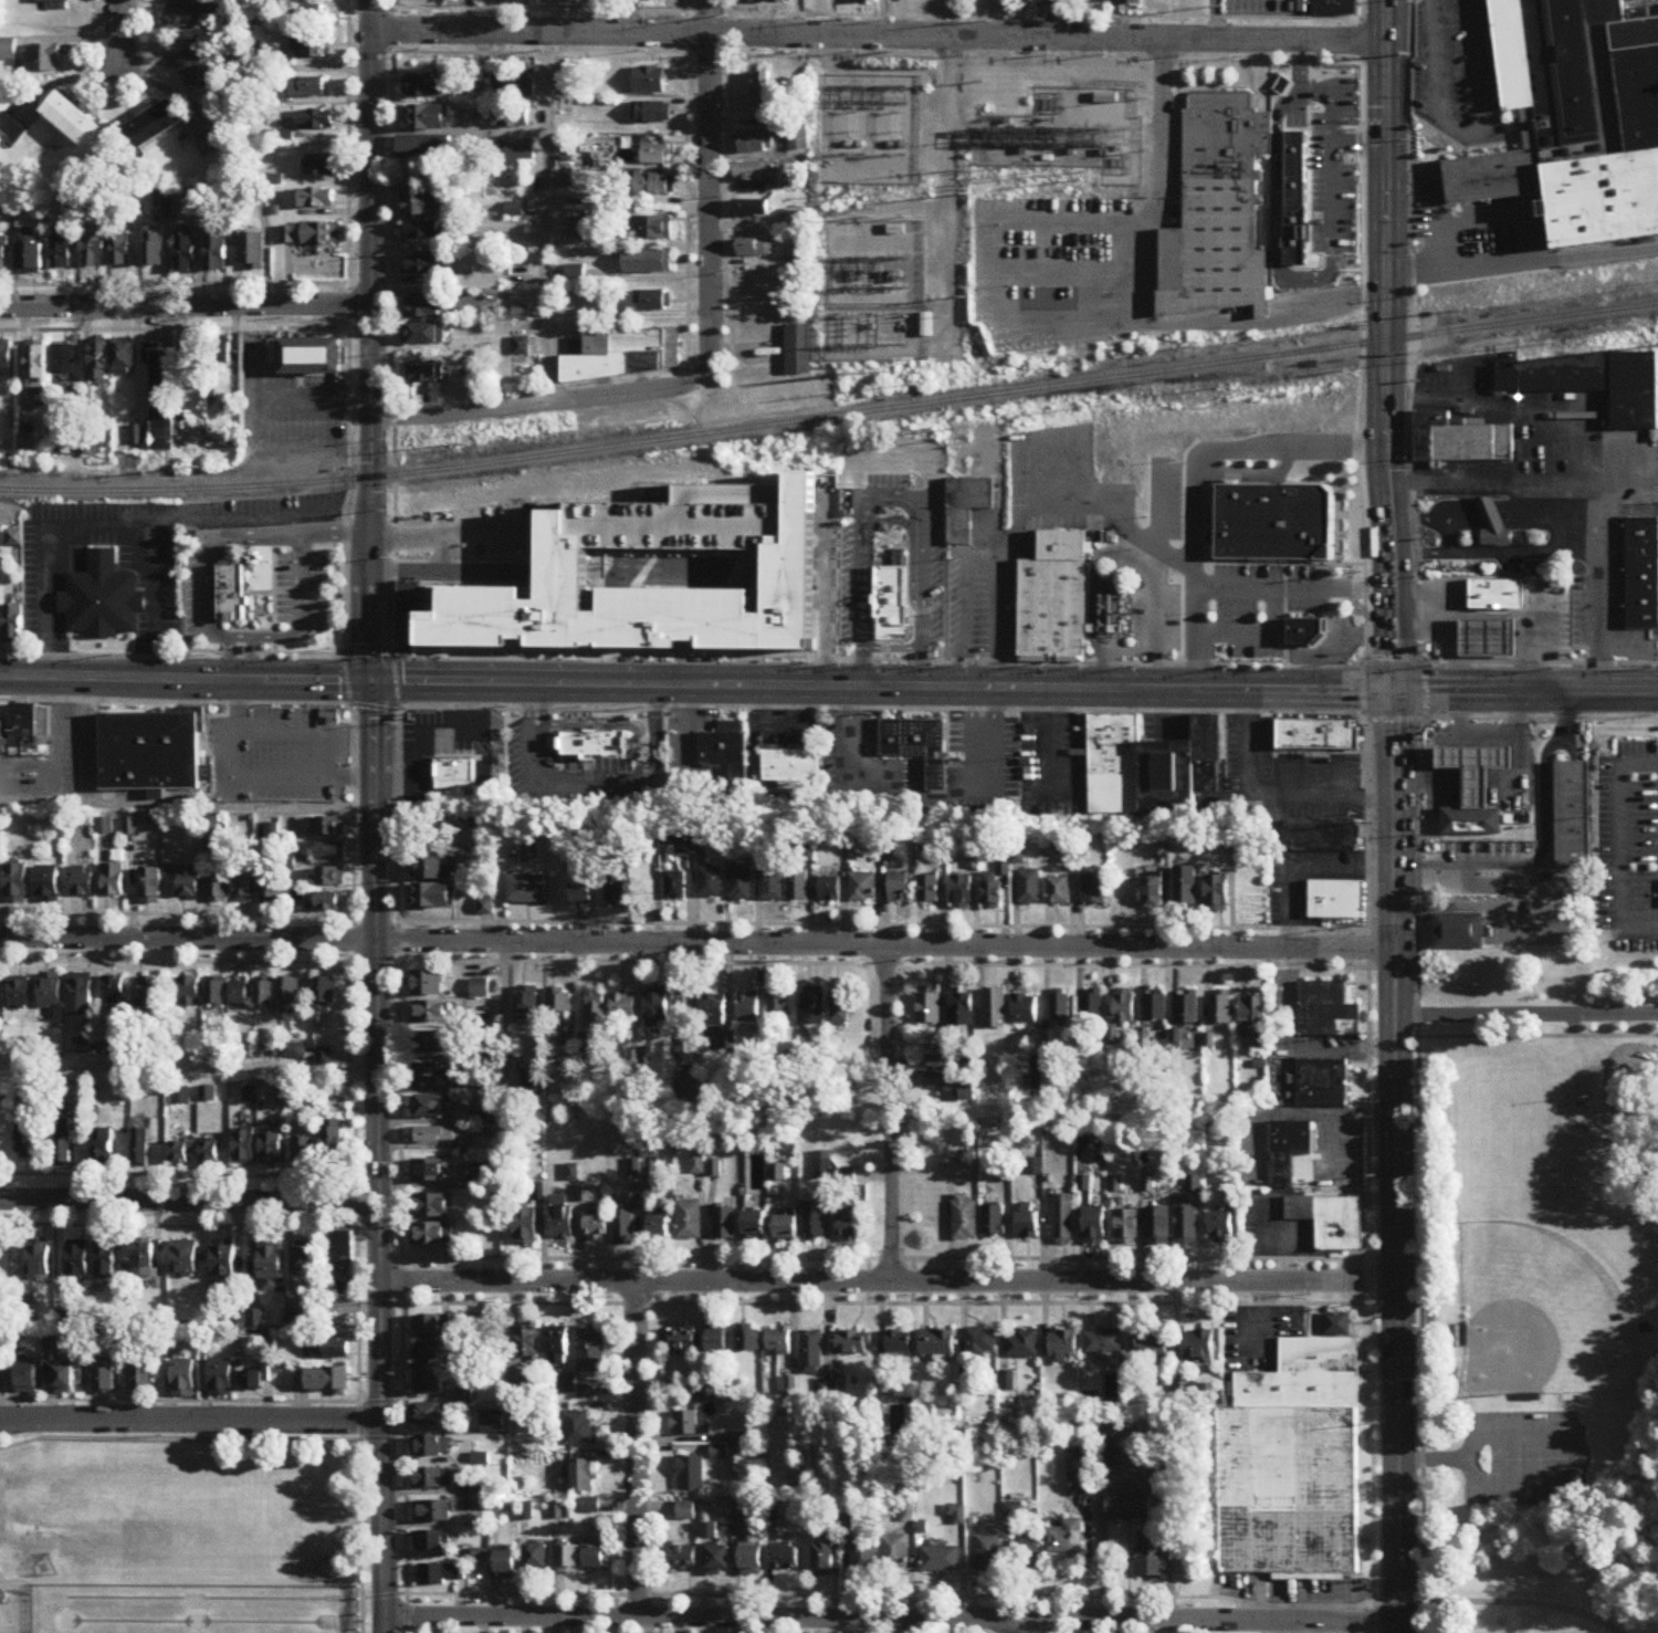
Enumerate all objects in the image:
building: (647, 0)
building: (780, 1)
building: (870, 1)
building: (755, 2)
building: (1130, 2)
building: (52, 3)
building: (1335, 8)
building: (307, 15)
road: (879, 19)
road: (1047, 19)
building: (181, 20)
road: (1213, 20)
road: (118, 34)
road: (879, 39)
building: (307, 48)
building: (7, 51)
building: (44, 60)
building: (201, 66)
building: (650, 82)
building: (523, 84)
building: (427, 87)
building: (304, 91)
building: (763, 92)
building: (564, 95)
building: (651, 113)
building: (1576, 115)
building: (427, 118)
building: (316, 121)
building: (72, 122)
building: (510, 122)
building: (151, 128)
building: (11, 129)
road: (1462, 134)
building: (798, 139)
building: (213, 145)
building: (755, 145)
building: (423, 148)
building: (521, 151)
road: (952, 155)
building: (654, 156)
road: (1159, 159)
building: (321, 167)
building: (754, 174)
road: (546, 180)
building: (564, 180)
building: (1301, 184)
building: (655, 186)
road: (710, 189)
building: (316, 199)
building: (420, 206)
building: (751, 210)
power substation: (983, 211)
building: (1219, 212)
building: (796, 219)
building: (651, 229)
building: (577, 230)
building: (423, 231)
building: (896, 231)
building: (311, 235)
road: (1524, 245)
building: (120, 250)
building: (155, 250)
building: (754, 250)
building: (92, 251)
building: (60, 252)
building: (252, 253)
building: (2, 254)
building: (185, 254)
building: (217, 254)
road: (1588, 254)
building: (29, 255)
building: (647, 262)
building: (423, 265)
building: (575, 274)
road: (649, 274)
building: (653, 302)
road: (187, 307)
building: (423, 308)
road: (1364, 333)
building: (426, 335)
road: (1385, 346)
building: (798, 350)
building: (192, 355)
building: (220, 356)
building: (627, 356)
building: (6, 357)
building: (123, 358)
building: (311, 358)
building: (63, 360)
building: (98, 363)
building: (36, 366)
building: (427, 373)
building: (1592, 384)
building: (160, 397)
road: (537, 404)
railway: (830, 418)
road: (683, 438)
building: (1461, 440)
building: (27, 443)
road: (1576, 443)
road: (1195, 478)
road: (890, 491)
road: (1559, 498)
building: (965, 504)
road: (1032, 505)
road: (1421, 516)
road: (1467, 516)
road: (1491, 516)
building: (1277, 525)
road: (99, 527)
building: (1494, 527)
road: (337, 532)
road: (448, 535)
road: (1553, 552)
road: (1424, 553)
road: (985, 555)
road: (1601, 556)
road: (424, 574)
building: (1643, 575)
road: (208, 577)
building: (670, 587)
road: (301, 588)
road: (1295, 588)
parking lot: (301, 592)
parking lot: (199, 593)
building: (1497, 594)
building: (232, 595)
building: (102, 600)
building: (1054, 603)
road: (1451, 605)
road: (1488, 614)
building: (891, 616)
road: (965, 621)
road: (1141, 622)
building: (11, 625)
building: (433, 630)
building: (1304, 634)
building: (1490, 637)
road: (367, 652)
road: (171, 656)
road: (878, 658)
road: (228, 659)
road: (252, 659)
road: (1511, 663)
road: (346, 677)
road: (395, 681)
traffic signals: (372, 683)
road: (553, 684)
road: (1250, 691)
traffic signals: (1396, 692)
road: (1477, 692)
road: (1608, 692)
road: (175, 701)
road: (531, 704)
road: (544, 704)
road: (374, 706)
road: (881, 706)
road: (1456, 713)
road: (848, 721)
road: (1511, 721)
road: (622, 724)
road: (537, 725)
building: (23, 730)
road: (1478, 736)
road: (654, 737)
building: (1318, 737)
building: (2, 739)
road: (53, 740)
road: (90, 740)
building: (724, 746)
building: (917, 746)
building: (596, 753)
building: (151, 754)
parking lot: (277, 754)
parking lot: (448, 764)
road: (528, 765)
building: (793, 770)
building: (1154, 770)
building: (1477, 770)
building: (452, 771)
road: (1517, 772)
parking lot: (552, 774)
road: (253, 776)
road: (1427, 779)
road: (598, 789)
road: (1274, 792)
road: (951, 794)
road: (46, 799)
road: (234, 804)
road: (353, 808)
road: (1418, 814)
road: (397, 815)
road: (375, 816)
building: (1573, 816)
building: (1472, 820)
building: (105, 826)
building: (328, 828)
building: (485, 830)
building: (1322, 837)
road: (1538, 838)
road: (1619, 844)
building: (330, 854)
road: (1305, 868)
building: (431, 870)
building: (330, 878)
building: (114, 881)
building: (83, 882)
building: (189, 882)
building: (712, 883)
building: (743, 883)
building: (48, 884)
building: (17, 886)
building: (218, 886)
building: (774, 886)
building: (150, 887)
building: (799, 887)
building: (676, 888)
building: (901, 888)
building: (1030, 888)
building: (244, 889)
building: (831, 889)
building: (864, 889)
building: (1187, 889)
building: (931, 890)
building: (271, 891)
building: (528, 891)
building: (1094, 891)
building: (618, 892)
building: (963, 892)
building: (994, 892)
building: (1059, 892)
building: (1154, 893)
building: (585, 896)
building: (1218, 896)
building: (436, 899)
building: (1336, 902)
building: (328, 903)
building: (1459, 933)
road: (353, 938)
road: (397, 939)
road: (697, 945)
building: (427, 984)
building: (114, 988)
building: (82, 990)
building: (51, 991)
building: (20, 992)
building: (151, 992)
building: (191, 992)
building: (217, 993)
building: (241, 993)
building: (265, 993)
building: (291, 996)
building: (325, 996)
building: (559, 1003)
building: (528, 1004)
building: (778, 1004)
building: (657, 1005)
building: (930, 1006)
building: (623, 1007)
building: (749, 1007)
building: (1093, 1007)
building: (1124, 1007)
building: (843, 1008)
building: (995, 1008)
building: (1156, 1008)
building: (1188, 1008)
building: (483, 1009)
building: (596, 1009)
building: (815, 1009)
building: (963, 1009)
building: (1025, 1009)
building: (1221, 1009)
building: (716, 1011)
building: (1060, 1011)
building: (429, 1012)
building: (1252, 1013)
building: (1328, 1013)
road: (1528, 1018)
road: (1538, 1038)
building: (432, 1043)
building: (584, 1043)
building: (935, 1064)
road: (189, 1069)
building: (432, 1076)
building: (533, 1082)
building: (956, 1084)
building: (1323, 1085)
building: (430, 1107)
road: (890, 1114)
building: (438, 1134)
building: (69, 1140)
building: (27, 1141)
building: (334, 1143)
road: (1641, 1145)
building: (102, 1147)
road: (1370, 1148)
building: (140, 1149)
building: (245, 1149)
building: (273, 1149)
building: (1288, 1151)
building: (179, 1154)
building: (211, 1154)
building: (306, 1155)
road: (1398, 1162)
building: (697, 1165)
building: (822, 1165)
building: (428, 1171)
building: (484, 1179)
building: (431, 1205)
road: (191, 1207)
building: (965, 1219)
building: (1063, 1219)
building: (690, 1221)
building: (1331, 1221)
building: (563, 1222)
building: (847, 1222)
building: (994, 1222)
building: (1187, 1222)
building: (725, 1223)
building: (815, 1223)
building: (526, 1225)
building: (1027, 1225)
building: (1094, 1225)
building: (1159, 1225)
building: (597, 1226)
building: (755, 1226)
building: (1127, 1226)
building: (623, 1227)
building: (1221, 1227)
building: (659, 1228)
building: (787, 1228)
building: (429, 1234)
building: (185, 1259)
building: (305, 1259)
building: (39, 1260)
building: (224, 1260)
building: (77, 1262)
building: (106, 1262)
building: (346, 1263)
building: (143, 1264)
building: (271, 1267)
road: (891, 1284)
building: (28, 1312)
park: (1536, 1315)
park: (1536, 1316)
building: (432, 1325)
building: (1337, 1325)
building: (528, 1341)
building: (717, 1341)
building: (749, 1341)
building: (778, 1341)
building: (683, 1342)
building: (980, 1342)
building: (853, 1343)
building: (937, 1343)
building: (1103, 1343)
building: (898, 1344)
building: (1021, 1344)
building: (557, 1346)
building: (1062, 1346)
building: (1152, 1346)
building: (1198, 1346)
building: (328, 1350)
building: (591, 1350)
building: (430, 1353)
building: (811, 1353)
building: (2, 1374)
building: (27, 1374)
building: (105, 1378)
building: (221, 1378)
building: (183, 1379)
building: (64, 1380)
building: (326, 1380)
building: (255, 1381)
building: (431, 1382)
building: (568, 1385)
building: (586, 1393)
building: (428, 1414)
road: (27, 1417)
road: (192, 1419)
building: (688, 1424)
building: (578, 1427)
building: (428, 1447)
road: (640, 1451)
building: (1108, 1451)
building: (720, 1453)
road: (1570, 1458)
road: (1434, 1459)
parking lot: (1524, 1461)
building: (1293, 1467)
building: (691, 1475)
building: (581, 1476)
building: (1080, 1476)
building: (433, 1478)
road: (1132, 1480)
building: (1130, 1507)
building: (686, 1511)
building: (434, 1512)
park: (193, 1526)
building: (1066, 1539)
building: (431, 1542)
building: (597, 1552)
building: (895, 1555)
building: (989, 1555)
building: (1026, 1555)
building: (685, 1556)
building: (863, 1556)
building: (1151, 1556)
building: (537, 1557)
building: (787, 1559)
building: (823, 1559)
building: (569, 1560)
building: (720, 1560)
building: (941, 1560)
building: (752, 1561)
building: (506, 1566)
building: (443, 1574)
road: (1497, 1604)
road: (893, 1619)
road: (1010, 1626)

